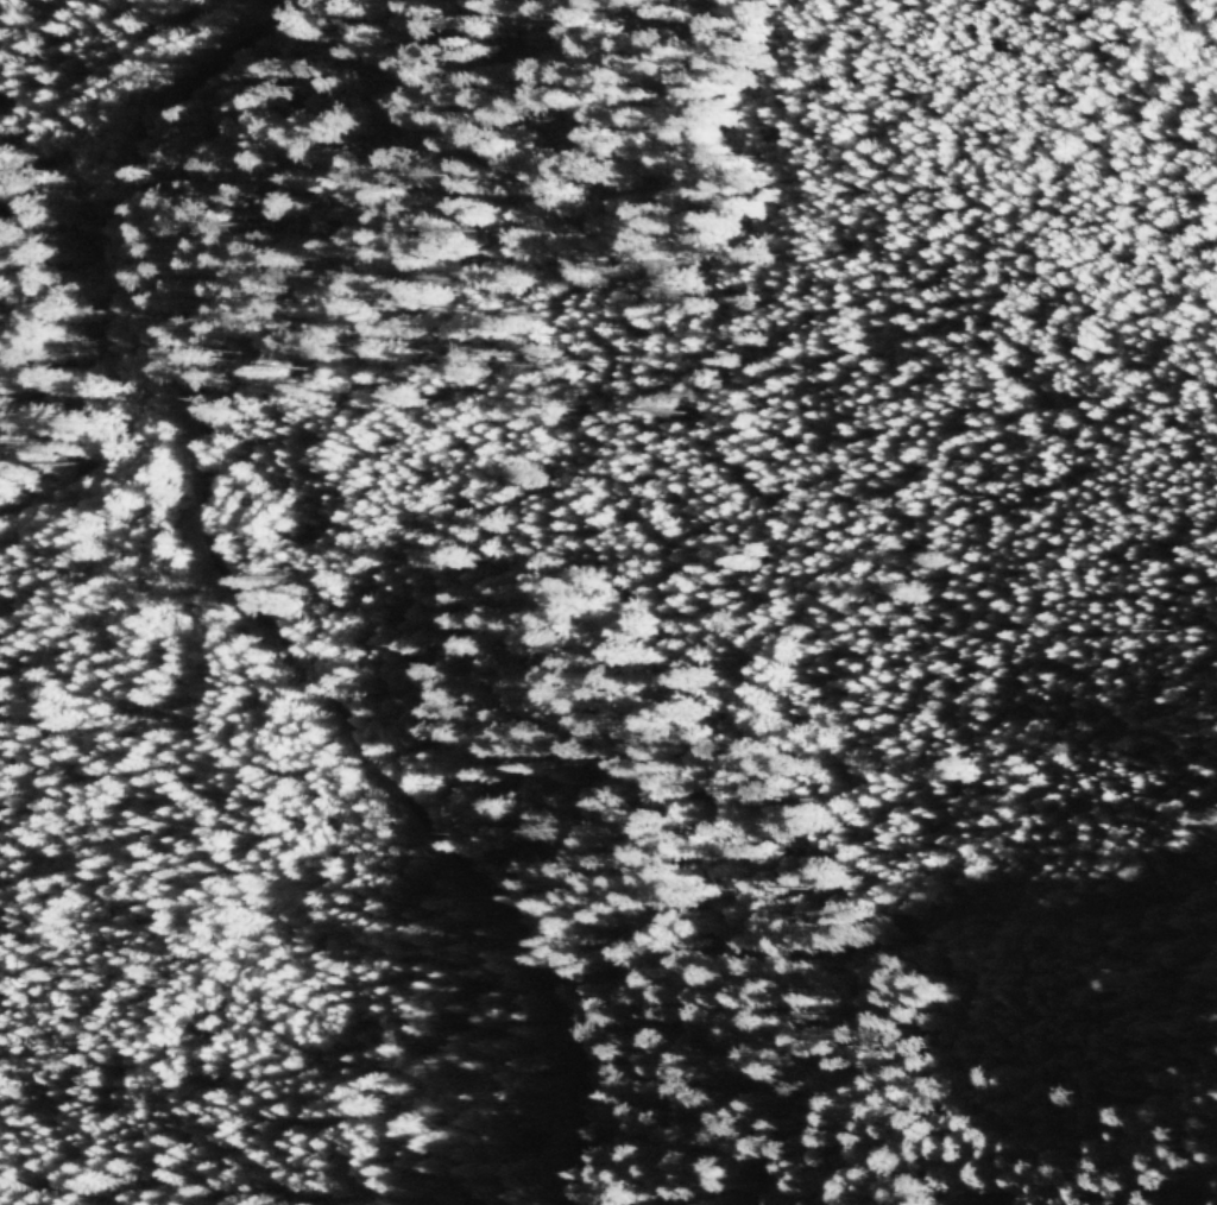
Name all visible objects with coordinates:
road: (239, 604)

